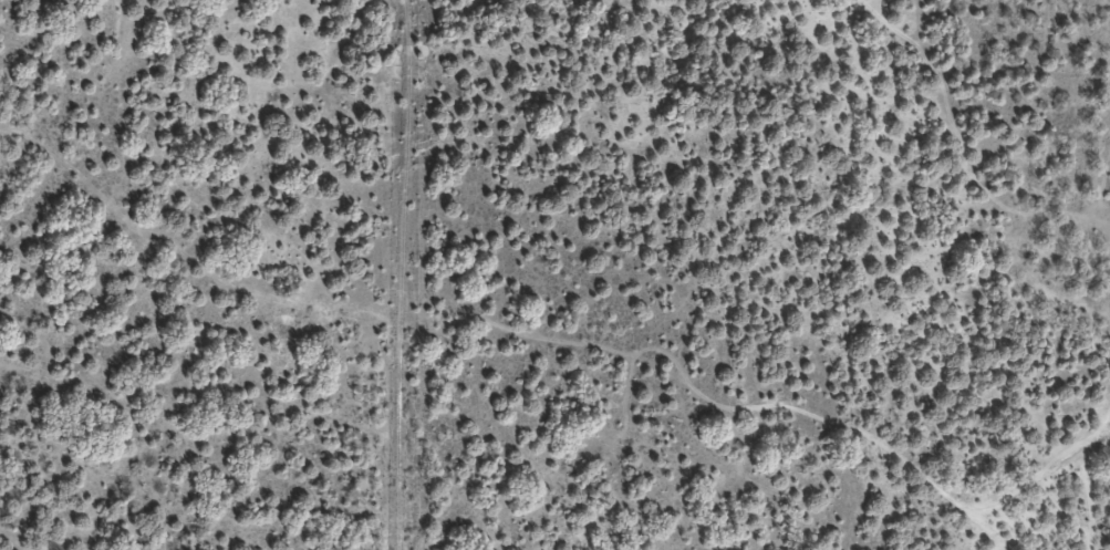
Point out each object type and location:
road: (107, 159)
road: (1099, 318)

